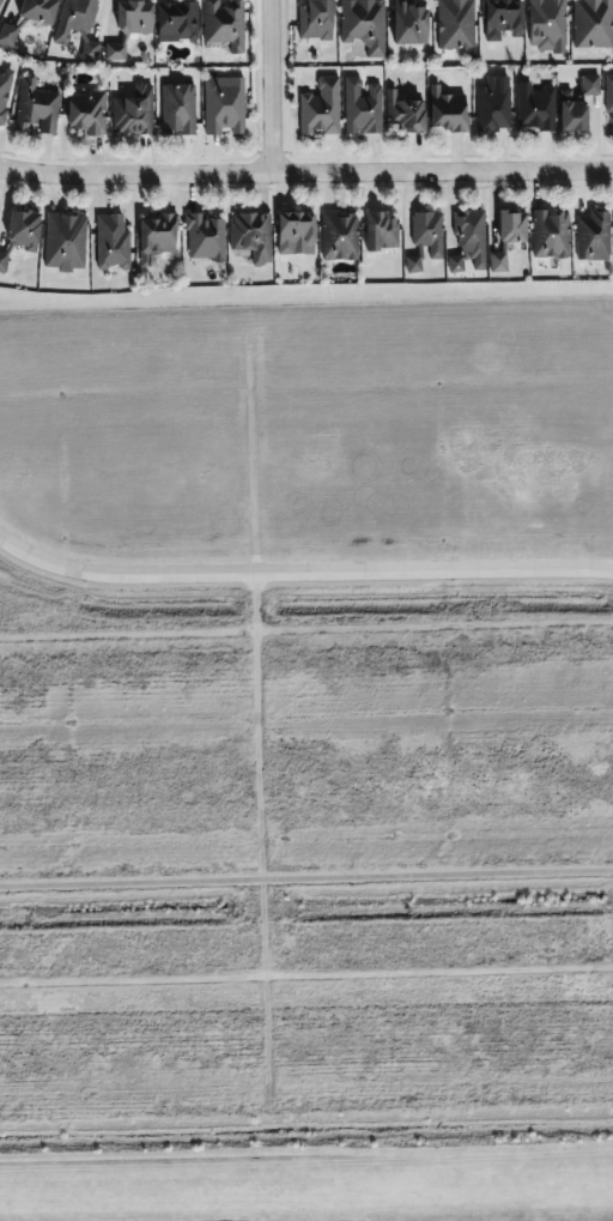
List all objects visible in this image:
building: (1, 2)
building: (37, 10)
building: (315, 19)
building: (502, 19)
building: (176, 22)
building: (593, 23)
building: (224, 24)
building: (363, 24)
building: (408, 24)
building: (455, 24)
building: (78, 25)
building: (546, 25)
building: (129, 26)
building: (7, 34)
building: (589, 85)
road: (269, 86)
building: (5, 90)
building: (608, 97)
building: (224, 104)
building: (362, 107)
building: (534, 107)
building: (36, 108)
building: (321, 108)
building: (492, 108)
building: (177, 109)
building: (447, 110)
building: (133, 111)
building: (405, 111)
building: (86, 113)
building: (571, 113)
road: (305, 171)
building: (23, 229)
building: (381, 231)
building: (295, 232)
building: (551, 234)
building: (251, 235)
building: (339, 236)
building: (508, 236)
building: (593, 236)
building: (156, 237)
building: (205, 237)
building: (425, 238)
building: (65, 241)
building: (468, 241)
building: (111, 242)
building: (2, 260)
road: (302, 569)
road: (306, 629)
road: (259, 711)
road: (305, 876)
road: (305, 973)

